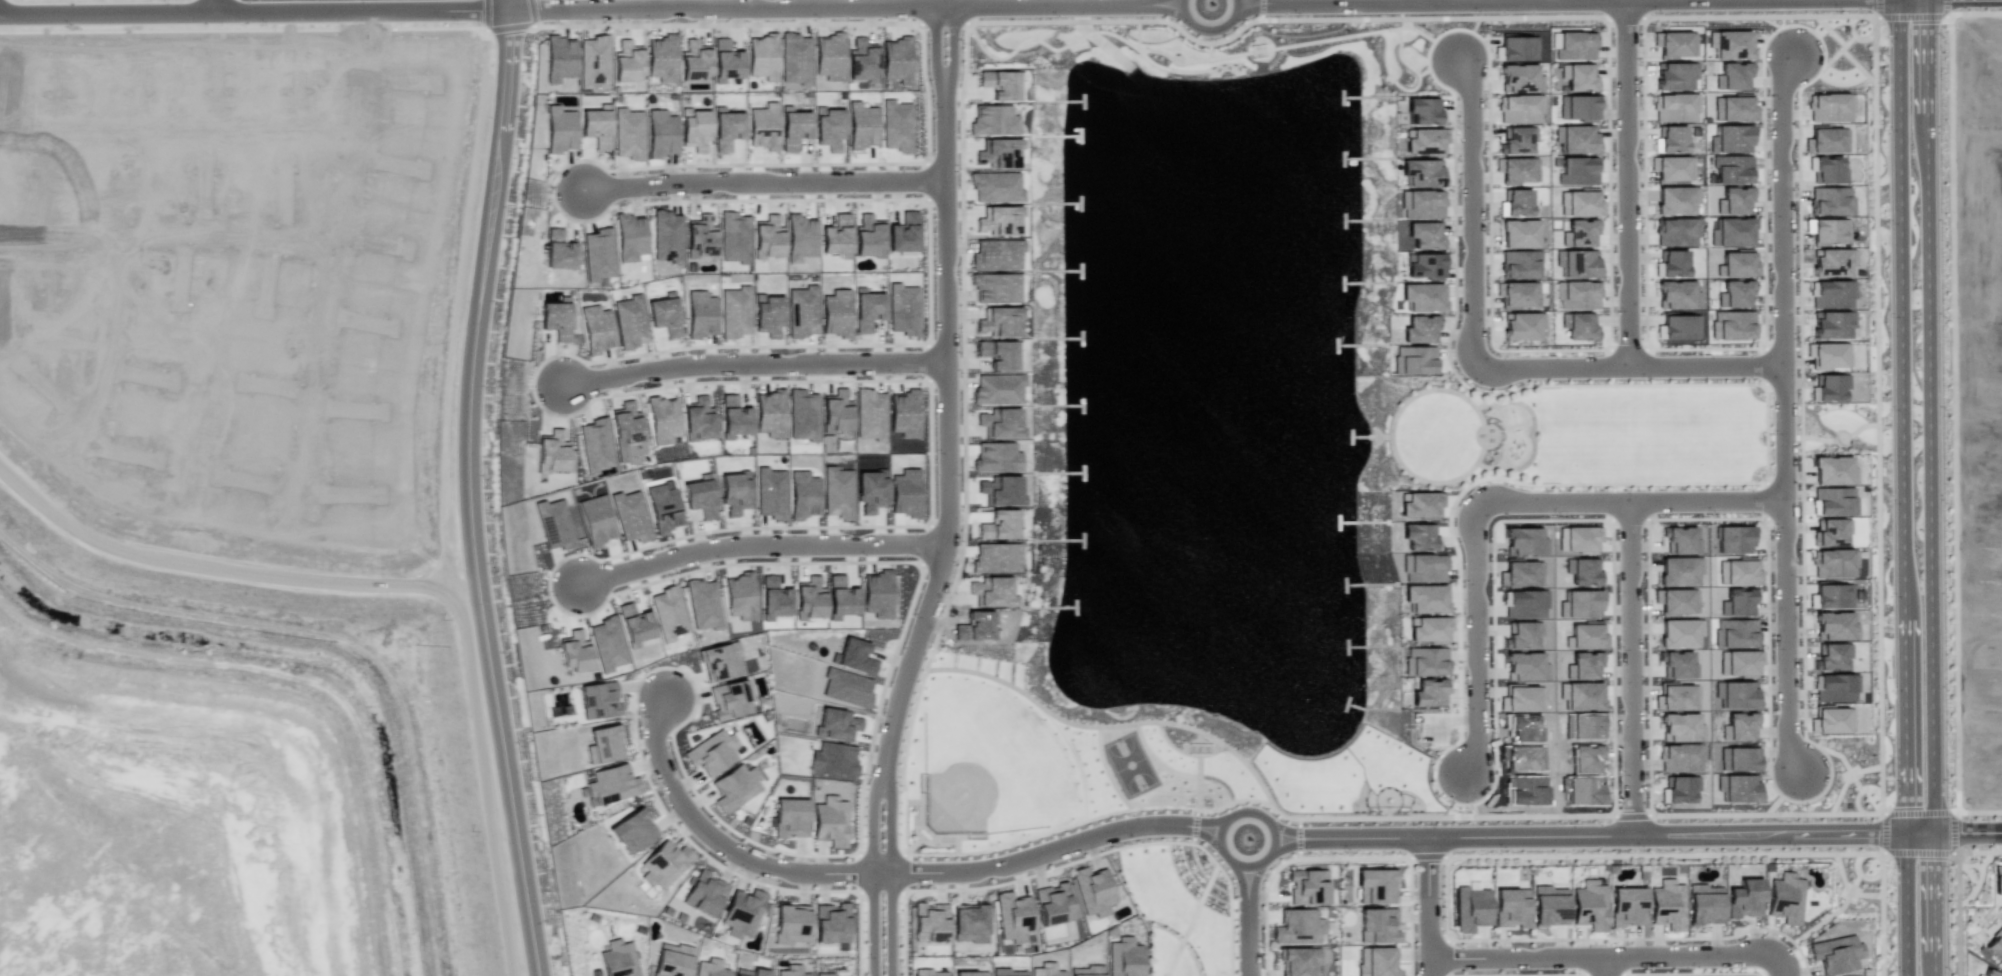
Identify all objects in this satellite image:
road: (942, 2)
road: (1418, 2)
road: (1431, 3)
road: (214, 6)
road: (848, 8)
road: (258, 13)
road: (1209, 31)
building: (1674, 43)
building: (1729, 44)
building: (1573, 46)
building: (1516, 49)
building: (762, 56)
building: (829, 56)
building: (559, 58)
building: (662, 58)
building: (796, 59)
building: (862, 59)
building: (594, 60)
building: (694, 60)
building: (896, 60)
building: (626, 61)
building: (726, 61)
building: (1667, 75)
building: (1733, 76)
building: (1576, 77)
building: (1519, 78)
building: (999, 83)
building: (1674, 107)
building: (1830, 107)
building: (1576, 108)
building: (1520, 109)
building: (1734, 109)
building: (1424, 110)
building: (993, 120)
building: (655, 124)
building: (728, 124)
building: (828, 124)
building: (862, 125)
building: (695, 126)
building: (763, 126)
building: (896, 126)
building: (561, 127)
building: (596, 127)
building: (794, 128)
building: (628, 133)
building: (1671, 138)
building: (1576, 139)
building: (1730, 139)
building: (1425, 140)
building: (1826, 140)
building: (998, 153)
building: (1672, 168)
building: (1517, 169)
building: (1731, 169)
building: (1827, 169)
building: (1577, 170)
building: (1421, 173)
road: (1628, 183)
building: (997, 187)
road: (766, 193)
building: (1673, 200)
building: (1734, 200)
building: (1830, 201)
building: (1516, 202)
building: (1580, 203)
building: (1422, 204)
road: (1778, 206)
road: (1473, 213)
building: (999, 220)
building: (1829, 230)
building: (1675, 232)
building: (1731, 232)
road: (170, 234)
building: (1518, 234)
building: (903, 235)
building: (1425, 235)
building: (667, 236)
building: (868, 236)
building: (630, 237)
building: (734, 237)
building: (768, 237)
building: (800, 237)
building: (701, 240)
building: (835, 241)
building: (559, 251)
building: (599, 254)
building: (996, 254)
road: (337, 257)
building: (1670, 263)
building: (1829, 263)
building: (1519, 264)
building: (1574, 264)
building: (1427, 265)
building: (1736, 265)
building: (995, 288)
building: (1516, 294)
building: (1735, 294)
building: (1831, 294)
building: (1577, 295)
building: (1676, 295)
building: (1422, 297)
building: (867, 309)
building: (903, 310)
building: (802, 311)
building: (735, 312)
building: (836, 313)
building: (665, 314)
building: (700, 314)
building: (768, 315)
building: (556, 319)
building: (999, 321)
building: (630, 322)
building: (1832, 324)
building: (1732, 325)
building: (1522, 326)
building: (1578, 326)
building: (1678, 327)
building: (1420, 328)
building: (596, 329)
road: (112, 336)
building: (997, 354)
building: (1828, 355)
building: (1414, 359)
road: (1628, 367)
road: (759, 373)
building: (1830, 387)
building: (997, 388)
road: (1955, 410)
building: (904, 413)
building: (773, 414)
building: (870, 414)
building: (802, 416)
building: (835, 416)
building: (733, 418)
building: (663, 419)
building: (698, 419)
building: (999, 423)
building: (625, 428)
road: (1781, 432)
park: (1558, 436)
road: (952, 442)
building: (595, 444)
building: (551, 455)
building: (996, 457)
building: (1833, 470)
road: (1899, 487)
road: (1929, 487)
road: (476, 488)
building: (1000, 490)
building: (870, 491)
building: (734, 492)
building: (770, 493)
building: (837, 493)
building: (904, 493)
building: (803, 495)
building: (699, 497)
road: (1620, 500)
building: (1834, 501)
building: (1419, 504)
building: (663, 508)
building: (629, 517)
building: (595, 520)
building: (554, 524)
building: (999, 525)
building: (1830, 532)
building: (1418, 537)
building: (1578, 539)
building: (1733, 539)
building: (1524, 541)
building: (1681, 541)
road: (763, 556)
building: (996, 557)
building: (1833, 563)
building: (1423, 568)
building: (1678, 570)
building: (1582, 571)
building: (1520, 573)
building: (1738, 573)
building: (992, 592)
building: (877, 594)
building: (739, 596)
building: (1832, 596)
building: (773, 598)
building: (841, 598)
building: (1424, 598)
building: (809, 599)
building: (1675, 600)
building: (1737, 602)
building: (703, 604)
building: (1524, 604)
building: (1581, 604)
building: (667, 612)
building: (634, 625)
building: (975, 626)
building: (1835, 626)
building: (1430, 630)
building: (1679, 632)
building: (1737, 633)
building: (1522, 634)
building: (1585, 636)
road: (1784, 636)
road: (342, 640)
road: (1475, 643)
building: (607, 644)
building: (573, 651)
building: (853, 656)
building: (1831, 657)
building: (720, 662)
building: (1425, 662)
building: (1738, 662)
building: (1676, 664)
building: (1583, 665)
building: (1523, 666)
road: (1618, 668)
building: (846, 688)
building: (1835, 688)
building: (1428, 692)
building: (1735, 694)
building: (1582, 696)
building: (1676, 697)
building: (730, 699)
building: (1521, 699)
building: (599, 700)
building: (1832, 721)
building: (835, 724)
building: (1739, 727)
road: (677, 728)
building: (1521, 728)
building: (1680, 728)
building: (604, 744)
building: (712, 752)
building: (1680, 757)
building: (1520, 758)
building: (1584, 758)
building: (833, 759)
building: (1738, 759)
park: (991, 760)
park: (1041, 763)
park: (1129, 764)
building: (613, 785)
building: (735, 787)
building: (1737, 787)
building: (1678, 789)
building: (1582, 790)
road: (1248, 811)
building: (791, 819)
building: (830, 821)
crop: (175, 831)
building: (632, 831)
road: (1967, 832)
road: (1602, 837)
road: (718, 841)
road: (1050, 849)
road: (1986, 851)
road: (1488, 857)
building: (661, 863)
road: (1869, 874)
building: (1997, 880)
building: (1376, 886)
building: (1307, 887)
road: (1848, 890)
building: (1093, 891)
building: (704, 893)
building: (1785, 897)
building: (1743, 898)
building: (1053, 904)
building: (1704, 904)
park: (1182, 905)
building: (1589, 905)
building: (1626, 905)
building: (1667, 905)
building: (1549, 906)
road: (1417, 907)
building: (1511, 907)
road: (1838, 908)
building: (1469, 909)
road: (1957, 909)
building: (742, 914)
building: (1014, 917)
road: (1247, 921)
road: (892, 922)
building: (930, 922)
building: (969, 922)
building: (791, 923)
building: (830, 923)
road: (872, 923)
building: (1377, 925)
building: (1297, 927)
building: (1994, 947)
building: (1836, 954)
road: (1597, 956)
building: (618, 958)
building: (1124, 958)
building: (673, 960)
building: (1298, 961)
building: (1376, 961)
road: (1603, 966)
building: (711, 968)
building: (1046, 969)
road: (1776, 969)
building: (791, 971)
building: (1088, 971)
building: (595, 972)
building: (748, 972)
building: (927, 972)
building: (1001, 972)
building: (836, 973)
building: (970, 973)
building: (1990, 973)

